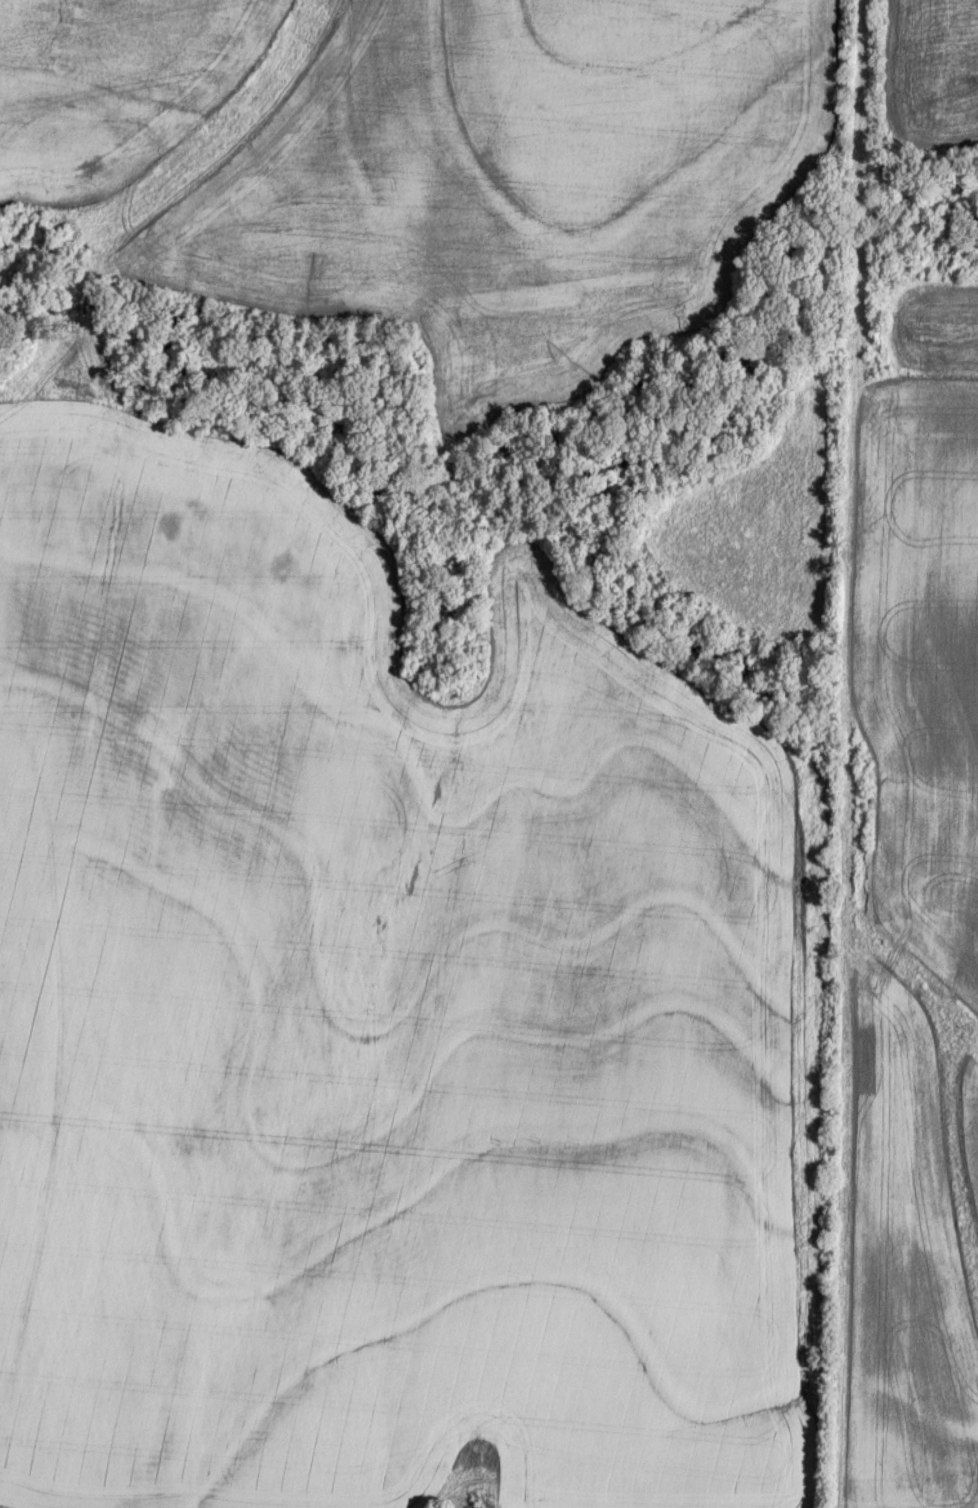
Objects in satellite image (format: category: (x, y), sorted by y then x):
road: (852, 754)

